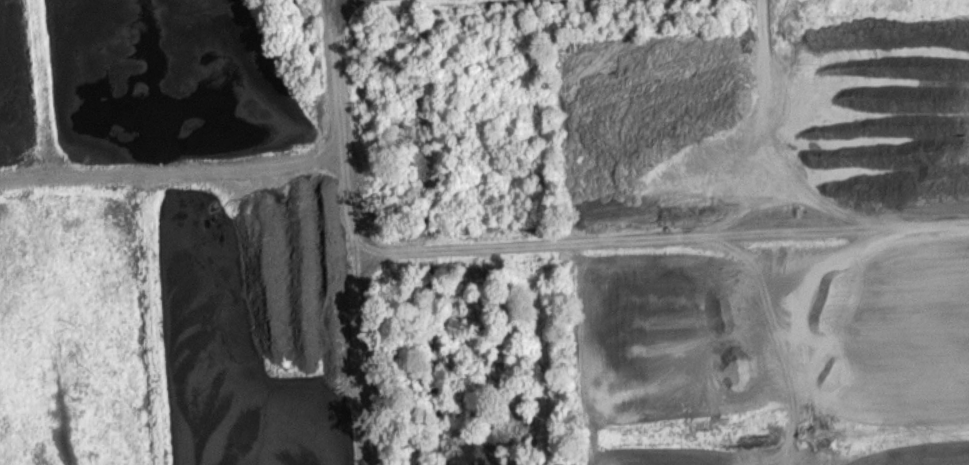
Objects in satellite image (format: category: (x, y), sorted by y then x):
road: (170, 168)
road: (348, 232)
road: (659, 237)

